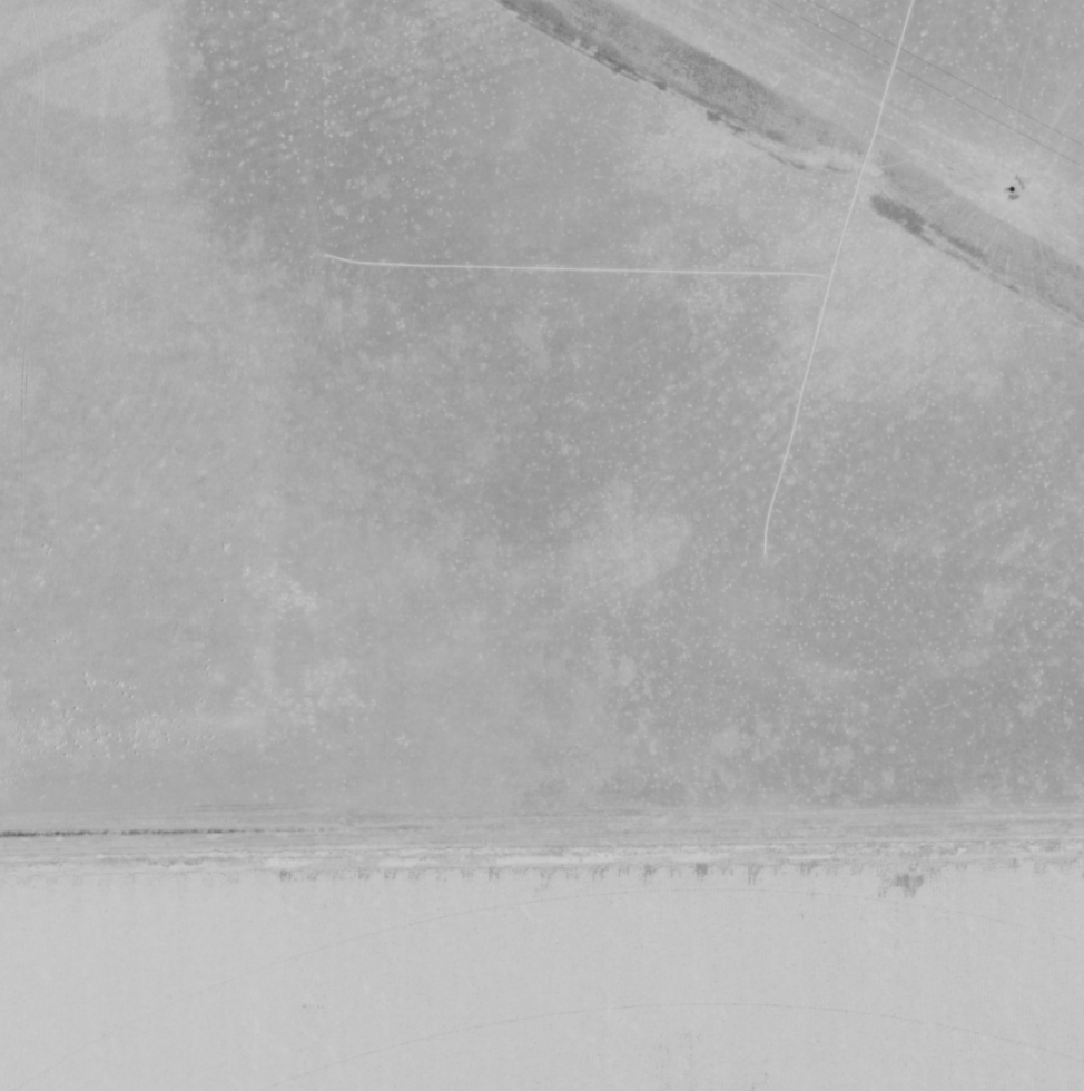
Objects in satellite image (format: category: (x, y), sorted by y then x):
road: (542, 813)

